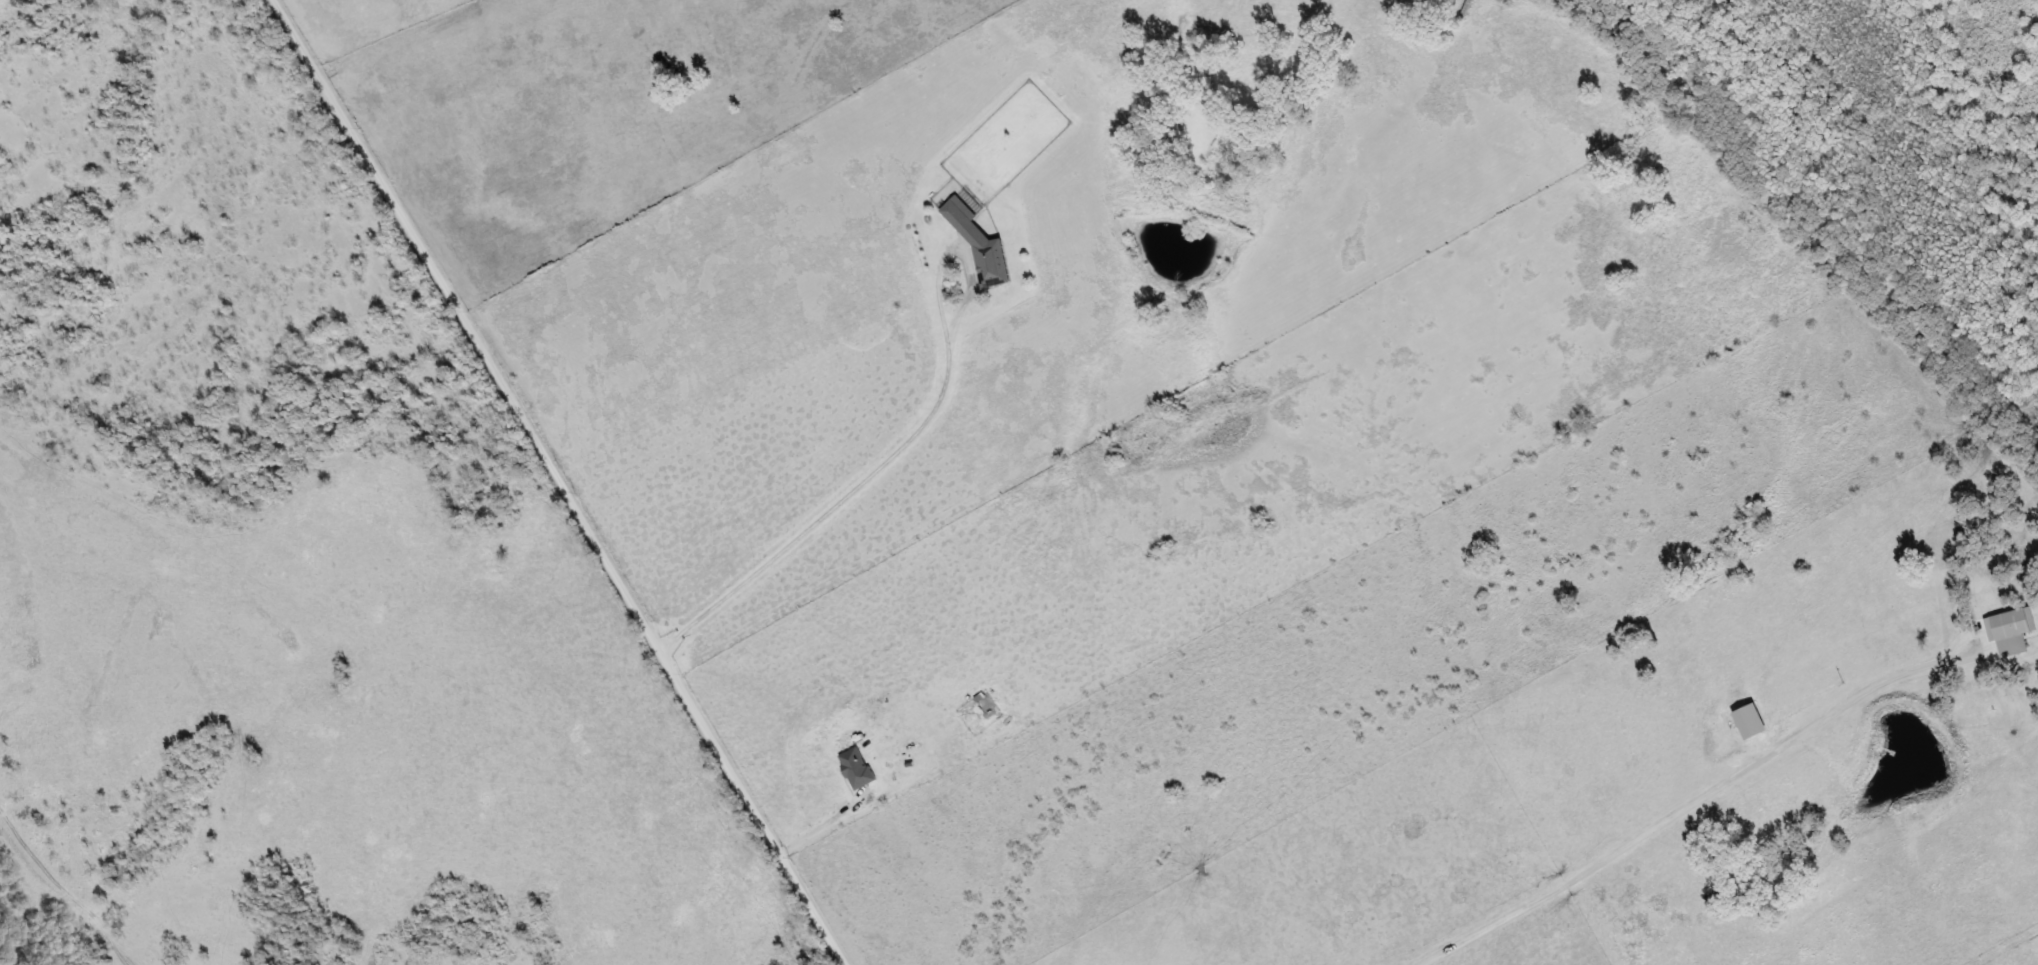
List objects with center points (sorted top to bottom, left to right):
building: (981, 242)
road: (557, 480)
road: (836, 498)
building: (2014, 622)
building: (858, 766)
road: (1688, 803)

